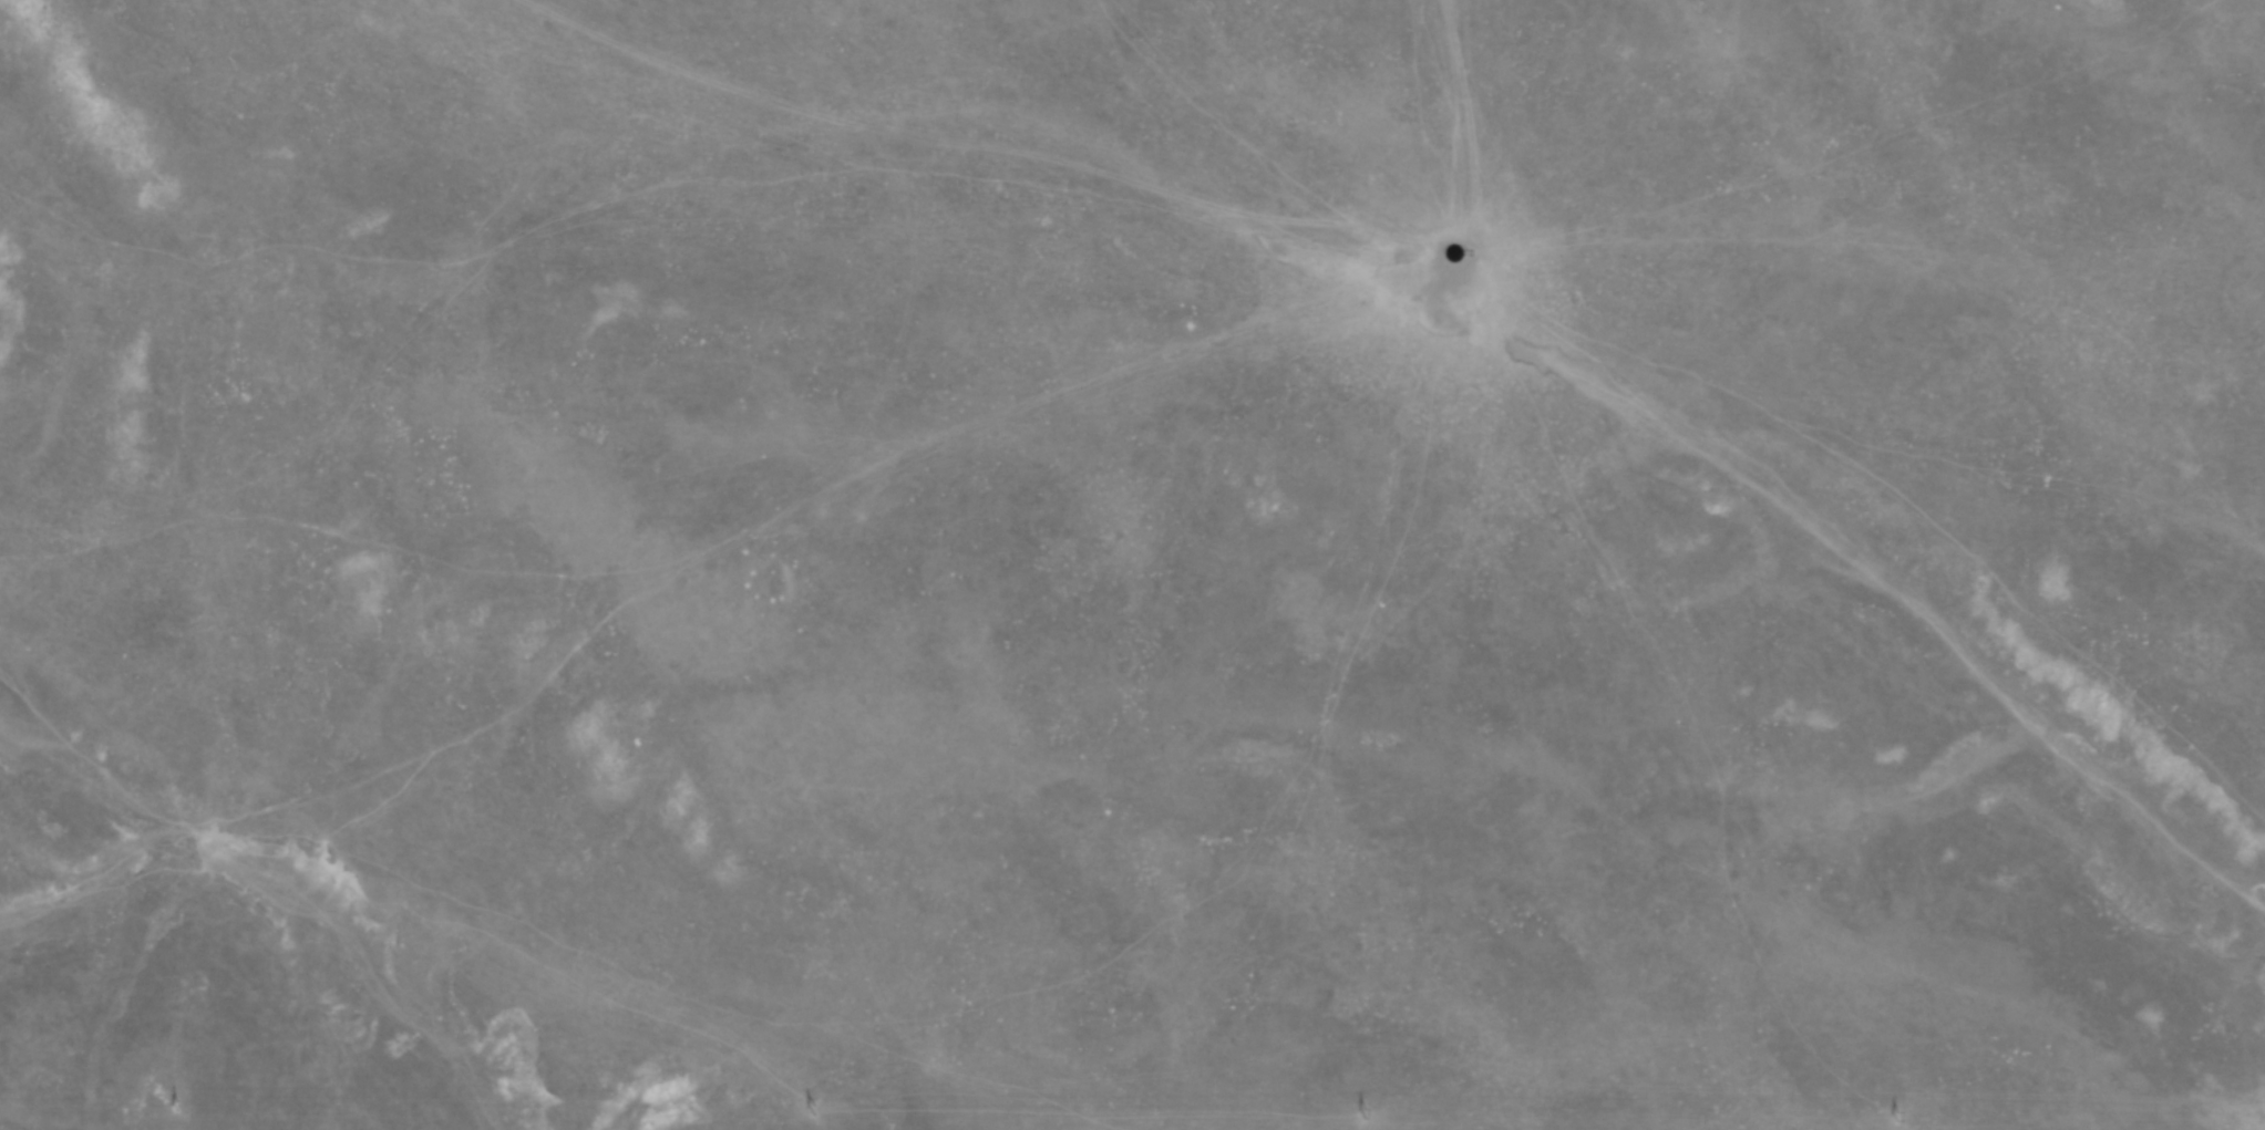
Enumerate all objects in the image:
power tower: (175, 1106)
power tower: (812, 1109)
power tower: (1362, 1113)
power tower: (1895, 1116)

